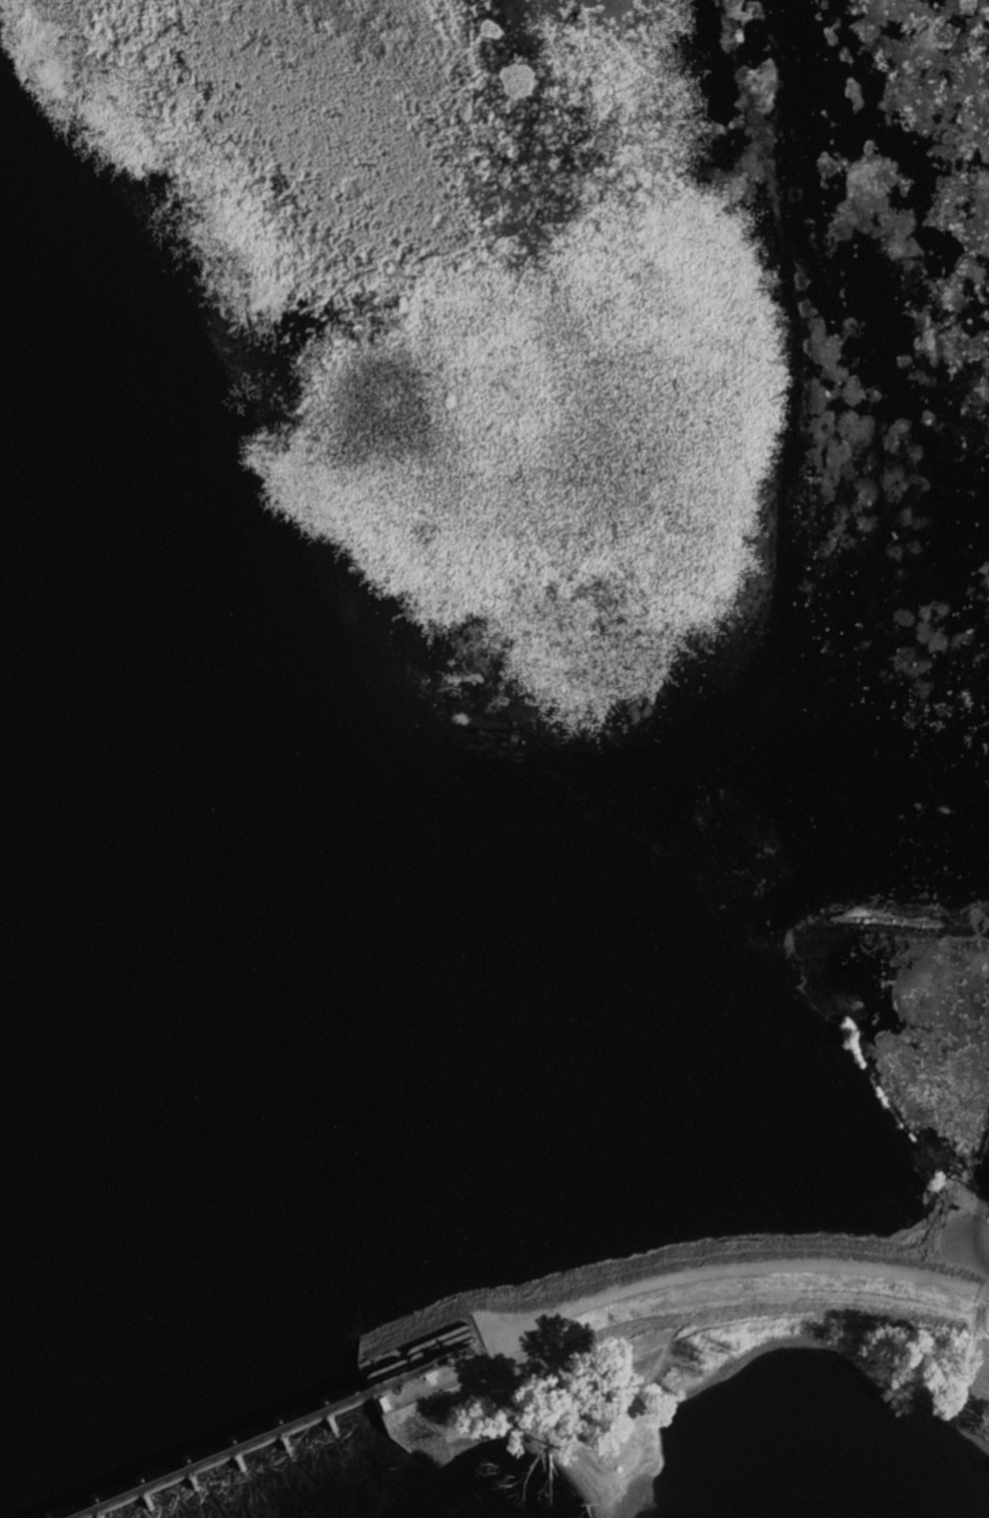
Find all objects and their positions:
road: (971, 1239)
road: (672, 1281)
road: (984, 1295)
park: (704, 1336)
road: (986, 1371)
dam: (256, 1446)
dam: (44, 1516)

